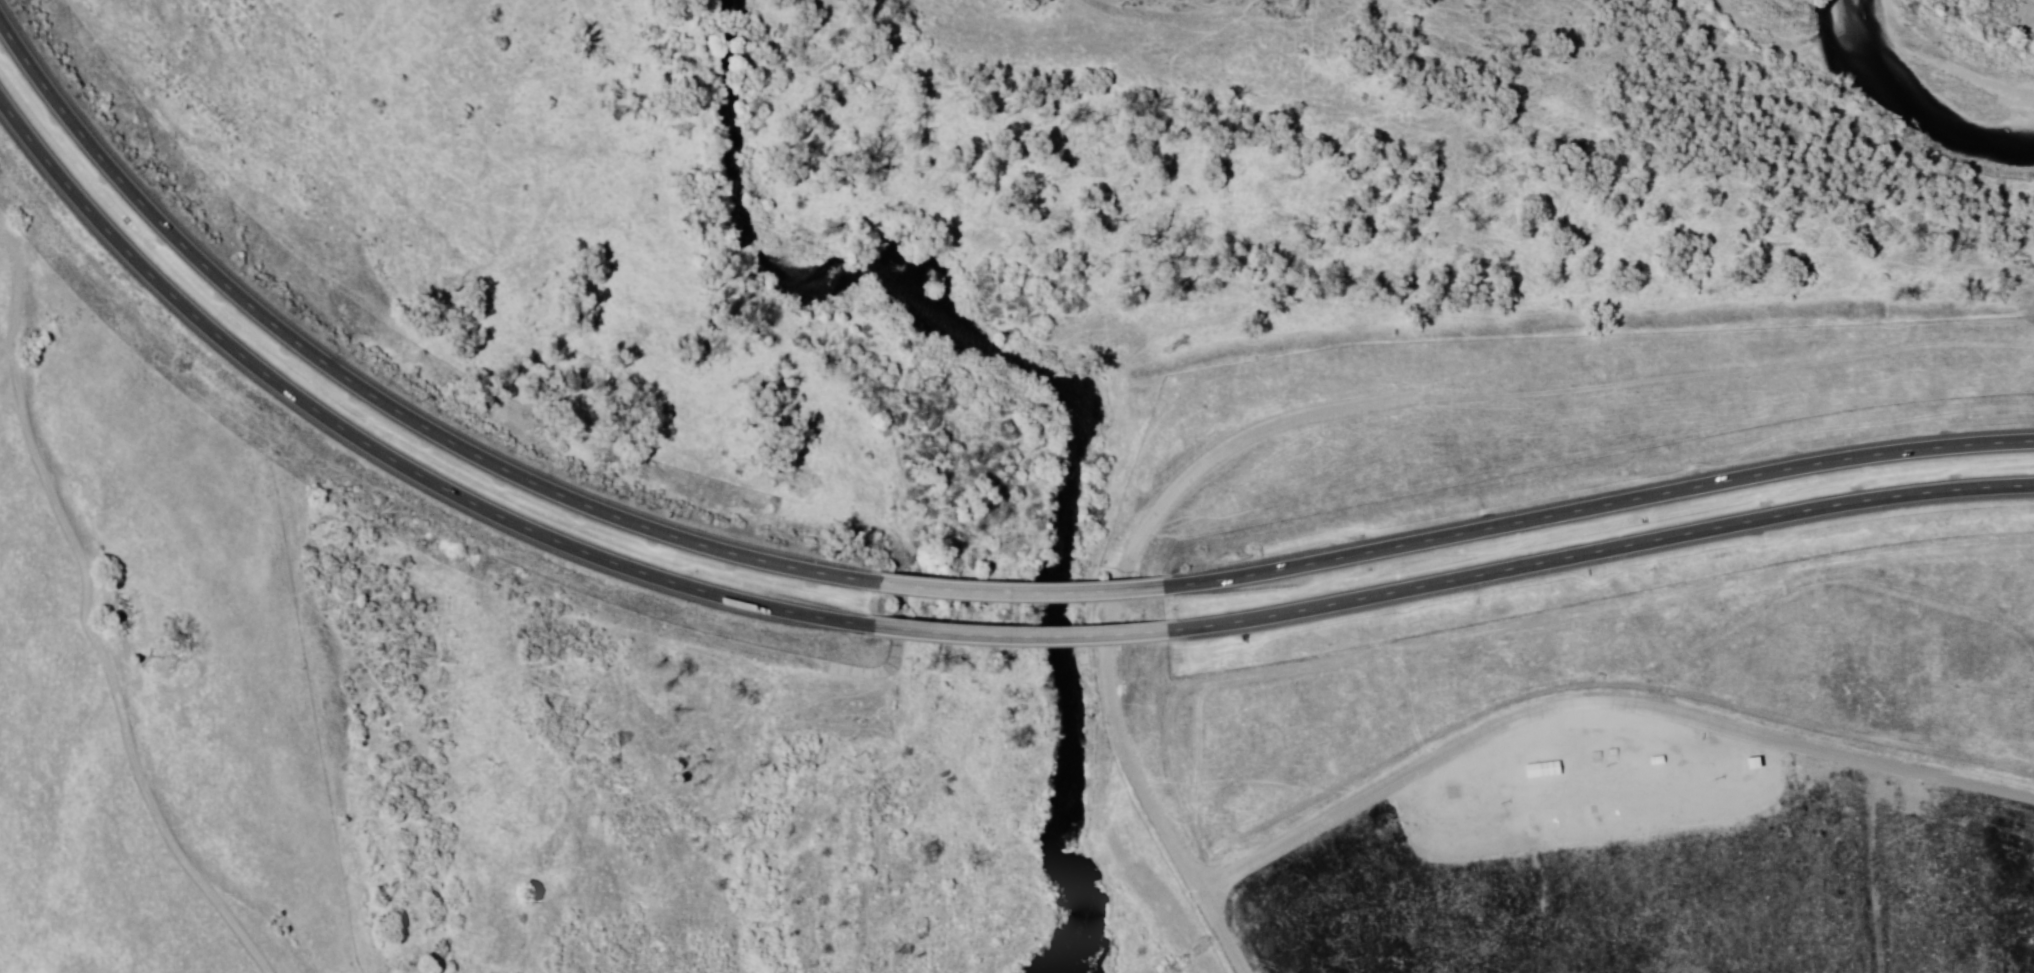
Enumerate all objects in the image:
road: (1721, 369)
road: (374, 396)
road: (383, 443)
road: (1594, 505)
road: (1598, 552)
road: (1821, 571)
road: (1600, 583)
road: (1015, 592)
road: (1097, 604)
road: (1016, 633)
road: (143, 677)
road: (1595, 701)
building: (1626, 754)
building: (1575, 758)
building: (1746, 764)
building: (1536, 771)
road: (1866, 867)

